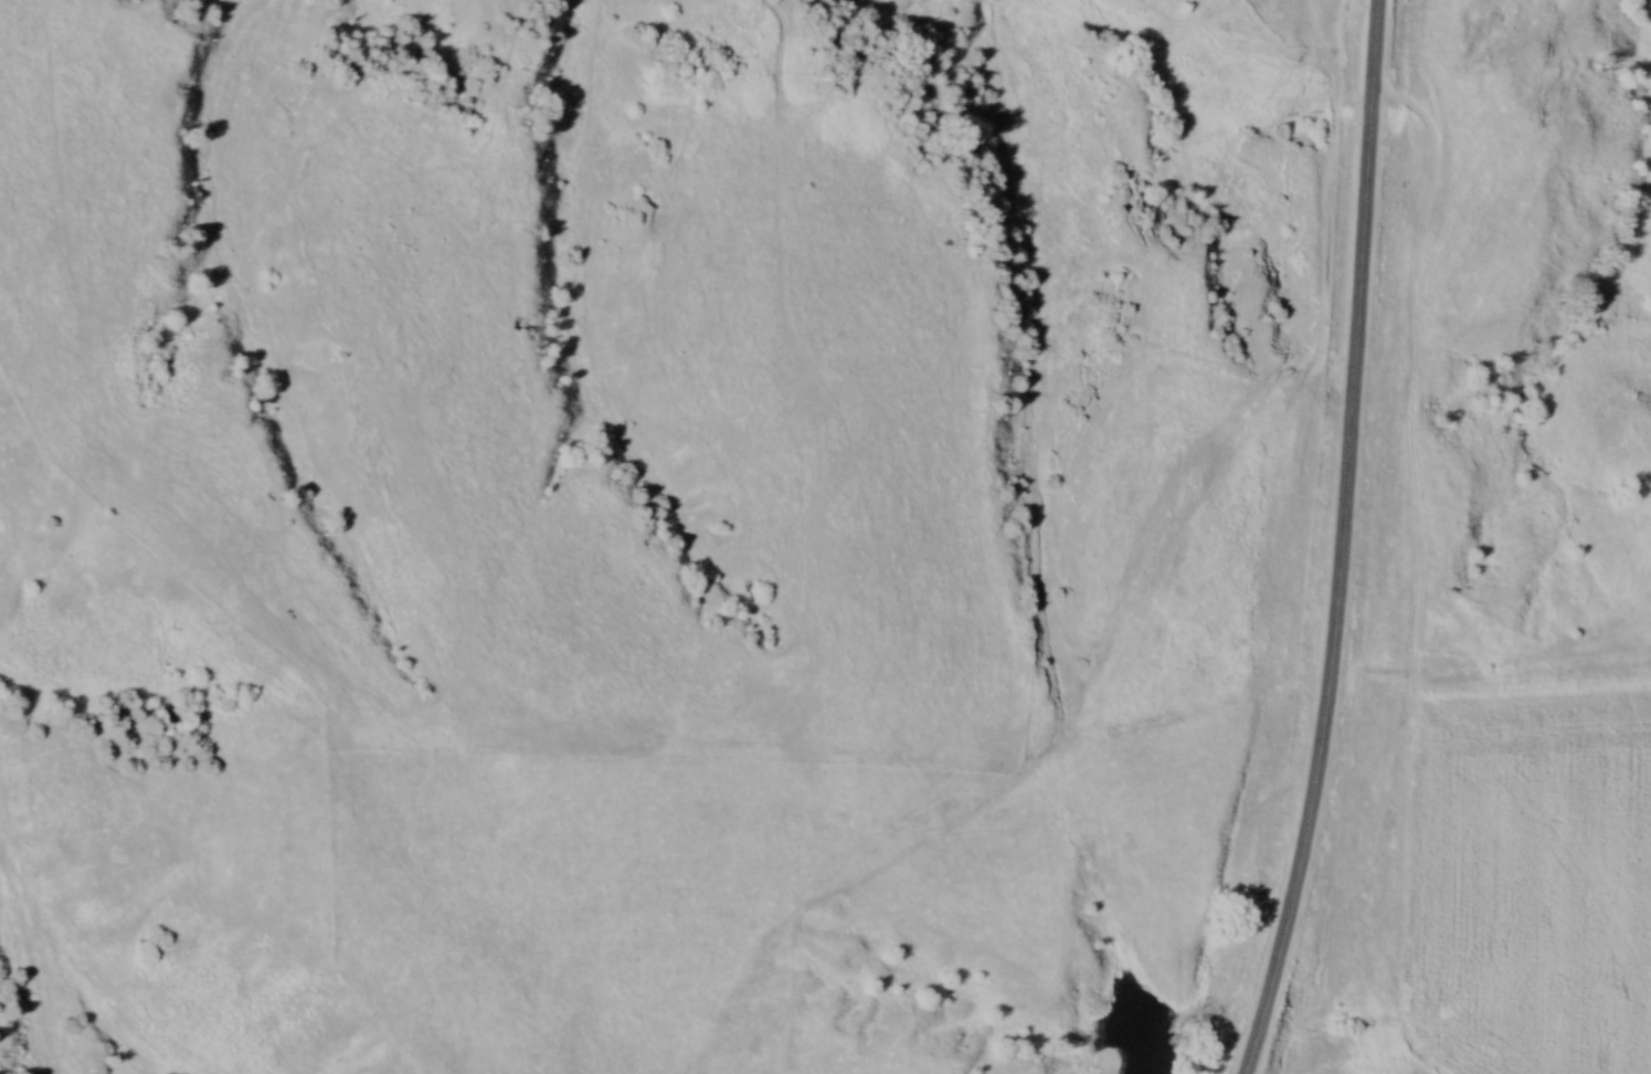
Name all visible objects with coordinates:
road: (1344, 541)

